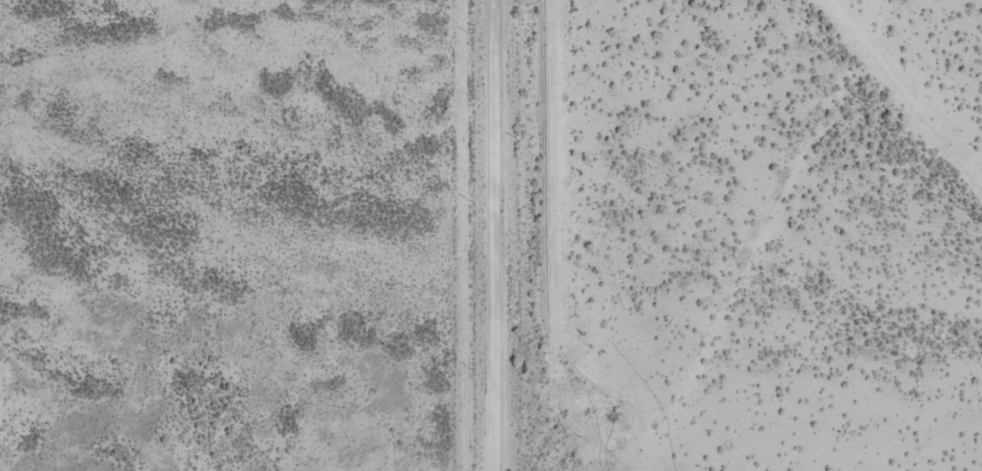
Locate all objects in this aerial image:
road: (466, 235)

